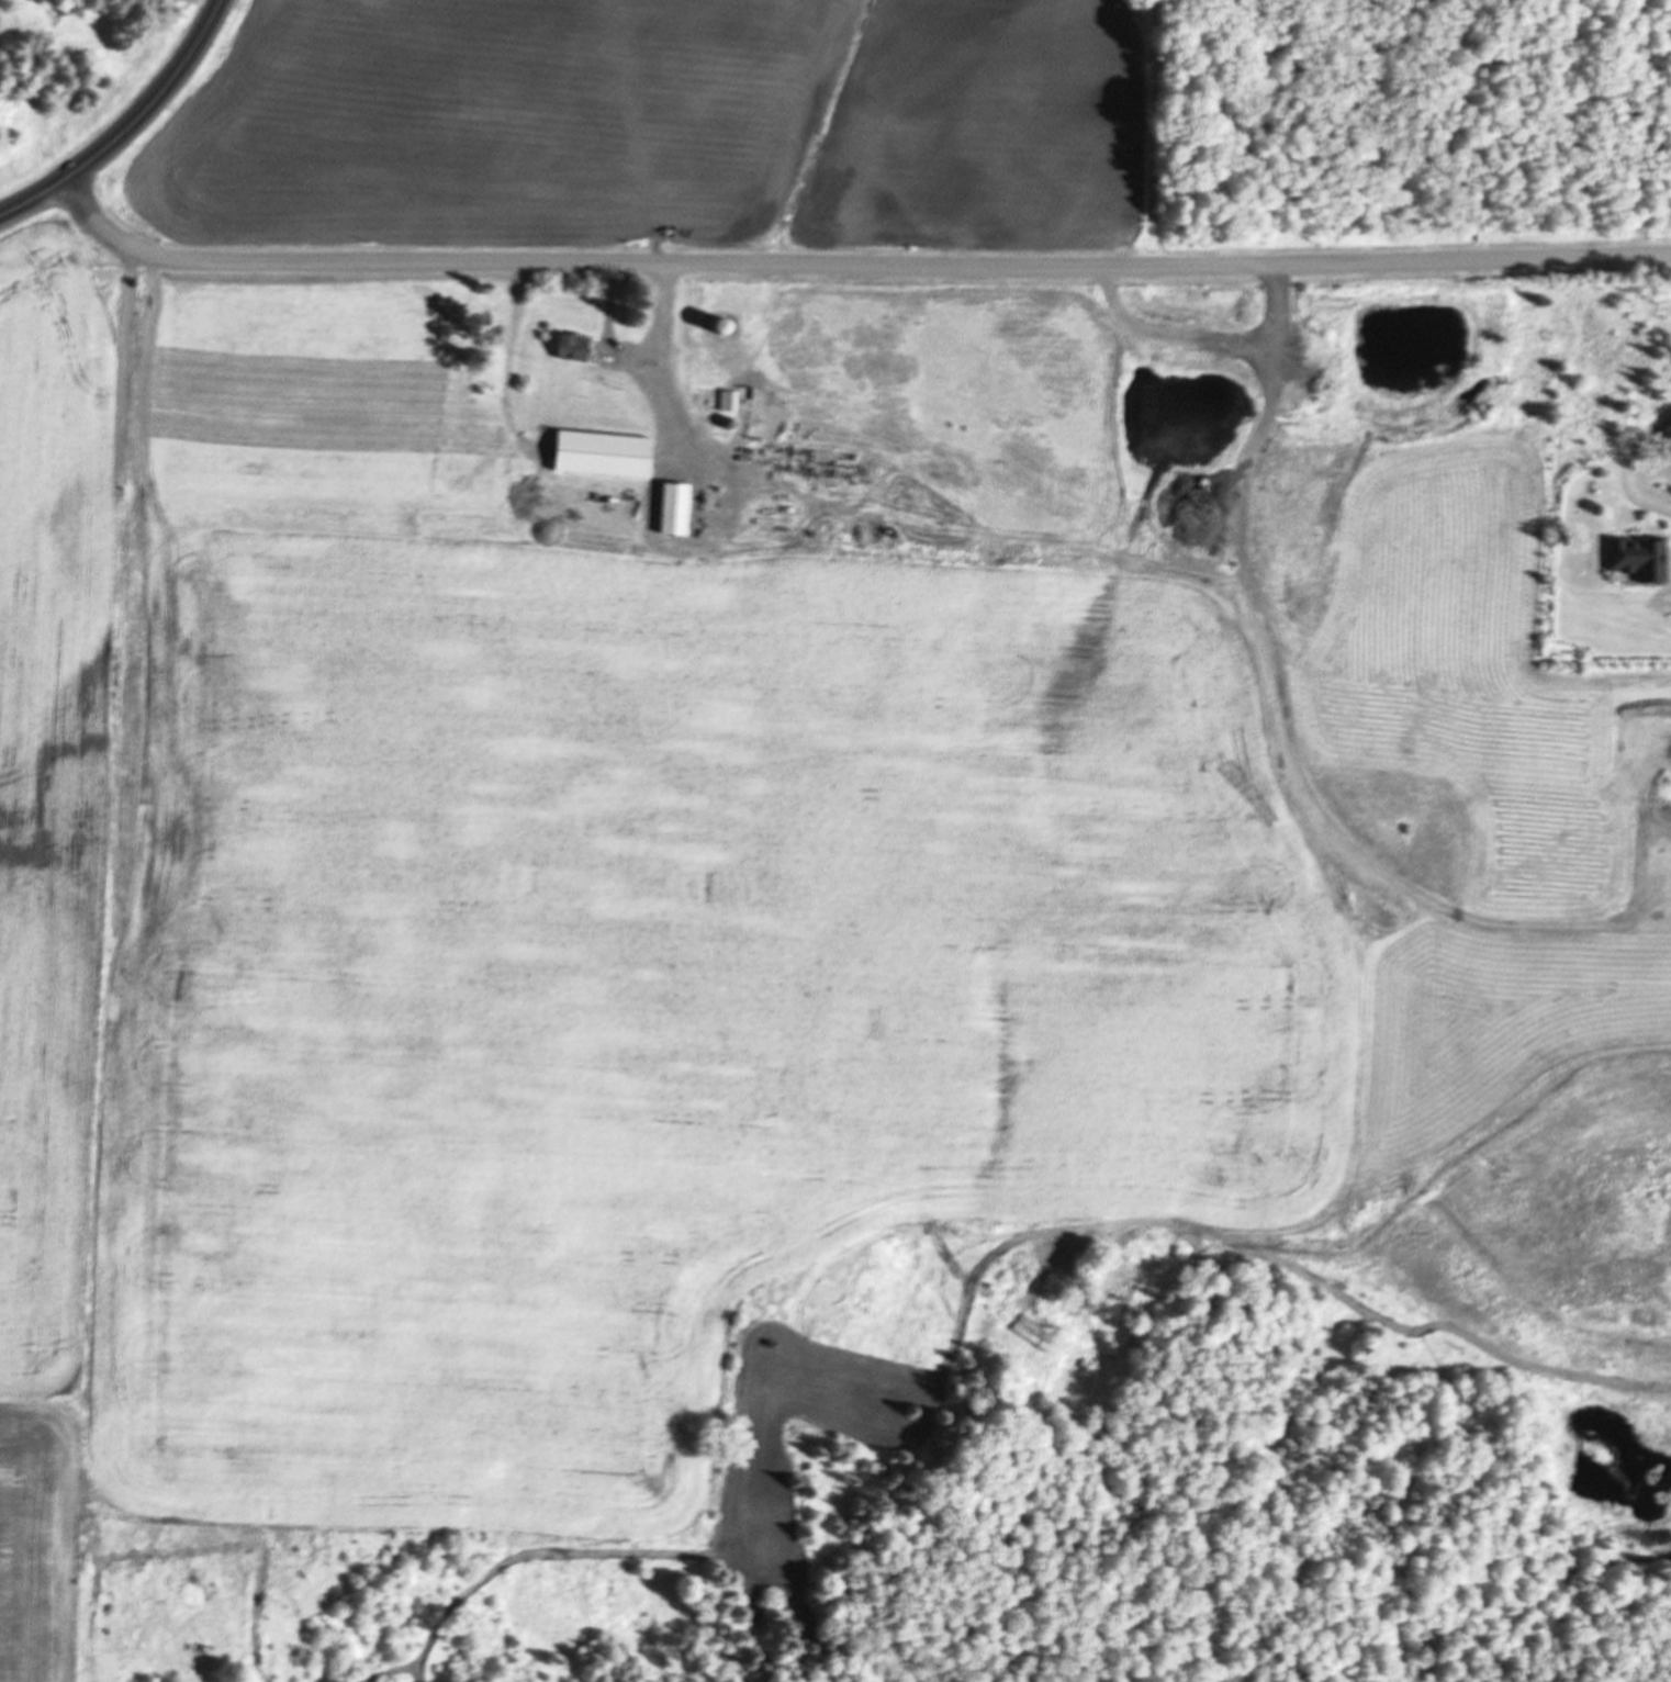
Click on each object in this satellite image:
park: (78, 77)
park: (1160, 126)
road: (131, 130)
road: (1158, 136)
road: (1429, 259)
road: (613, 262)
building: (572, 348)
building: (715, 351)
building: (603, 455)
building: (681, 505)
building: (1640, 558)

